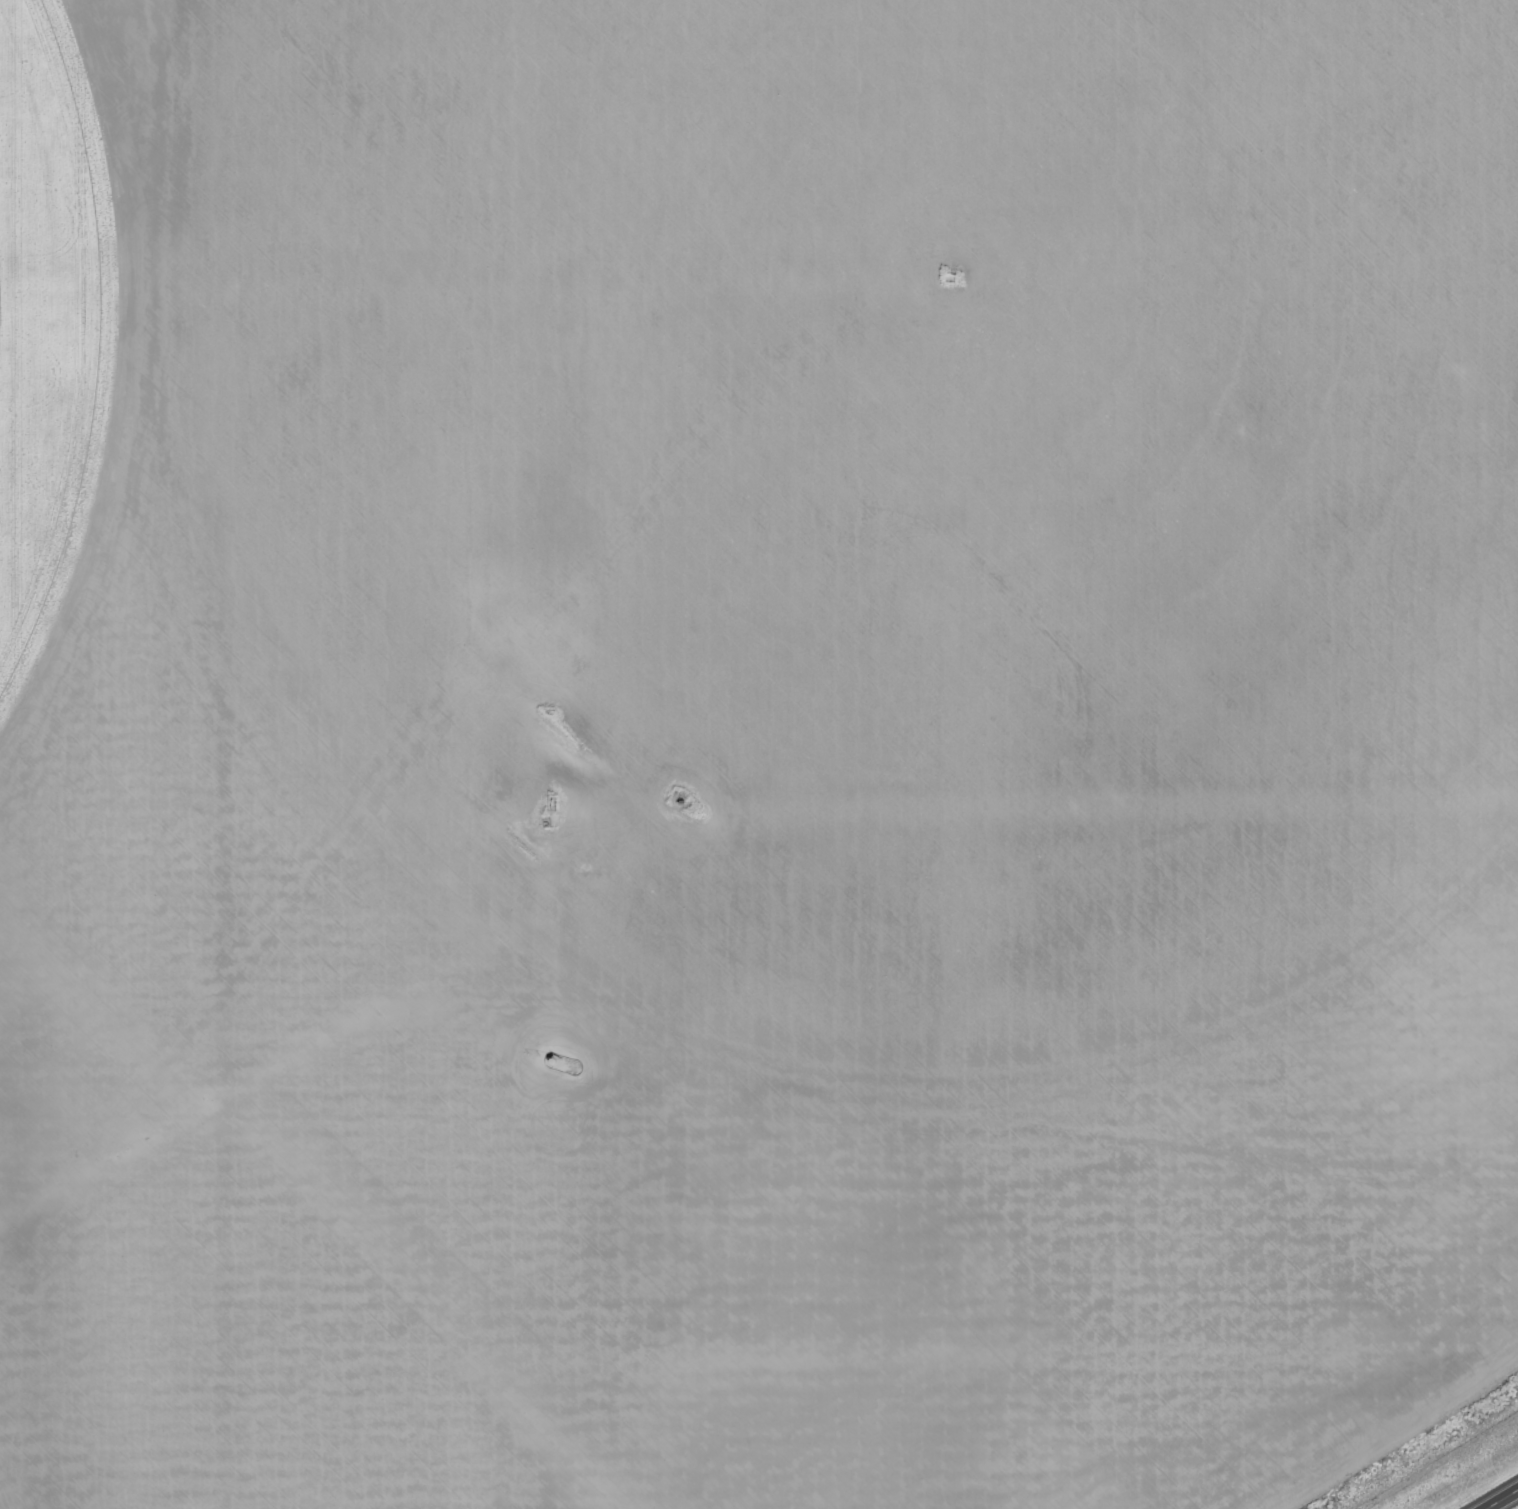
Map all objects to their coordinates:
road: (1503, 1500)

